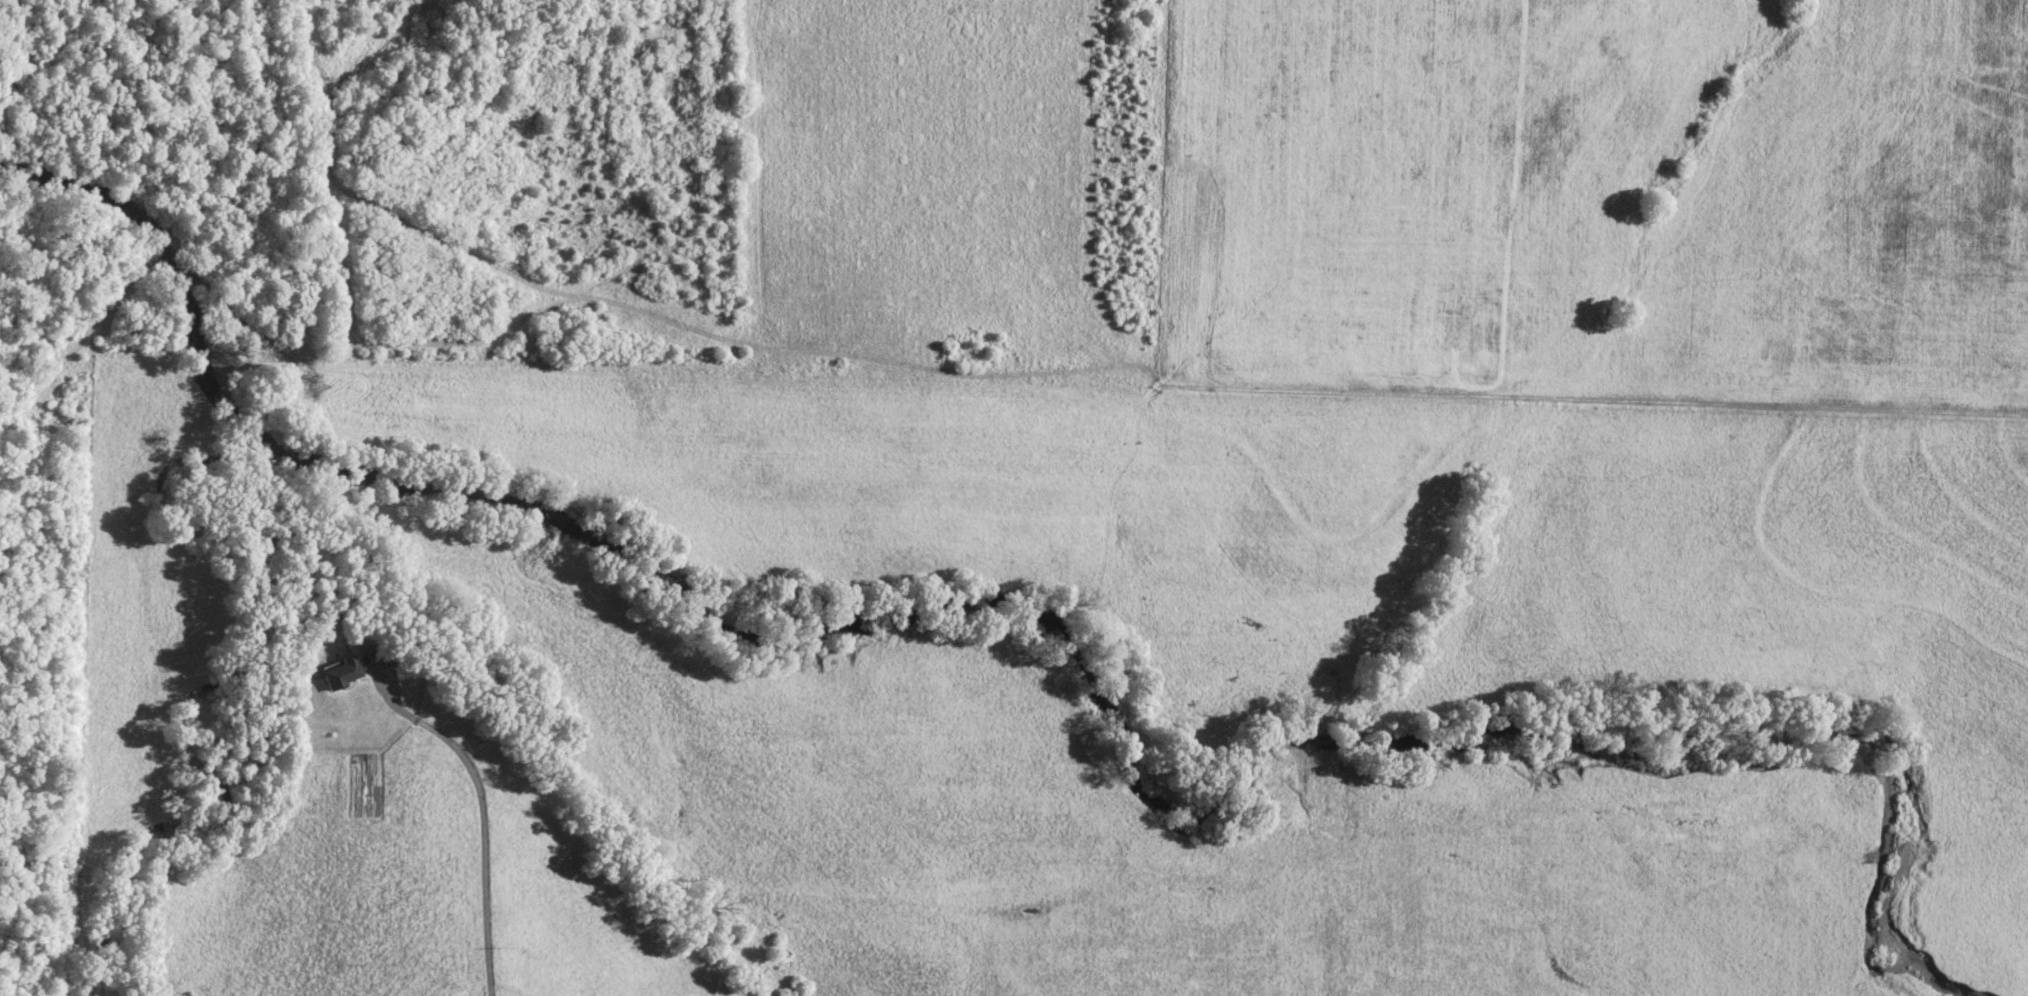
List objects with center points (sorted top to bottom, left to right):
road: (1171, 387)
road: (486, 819)

